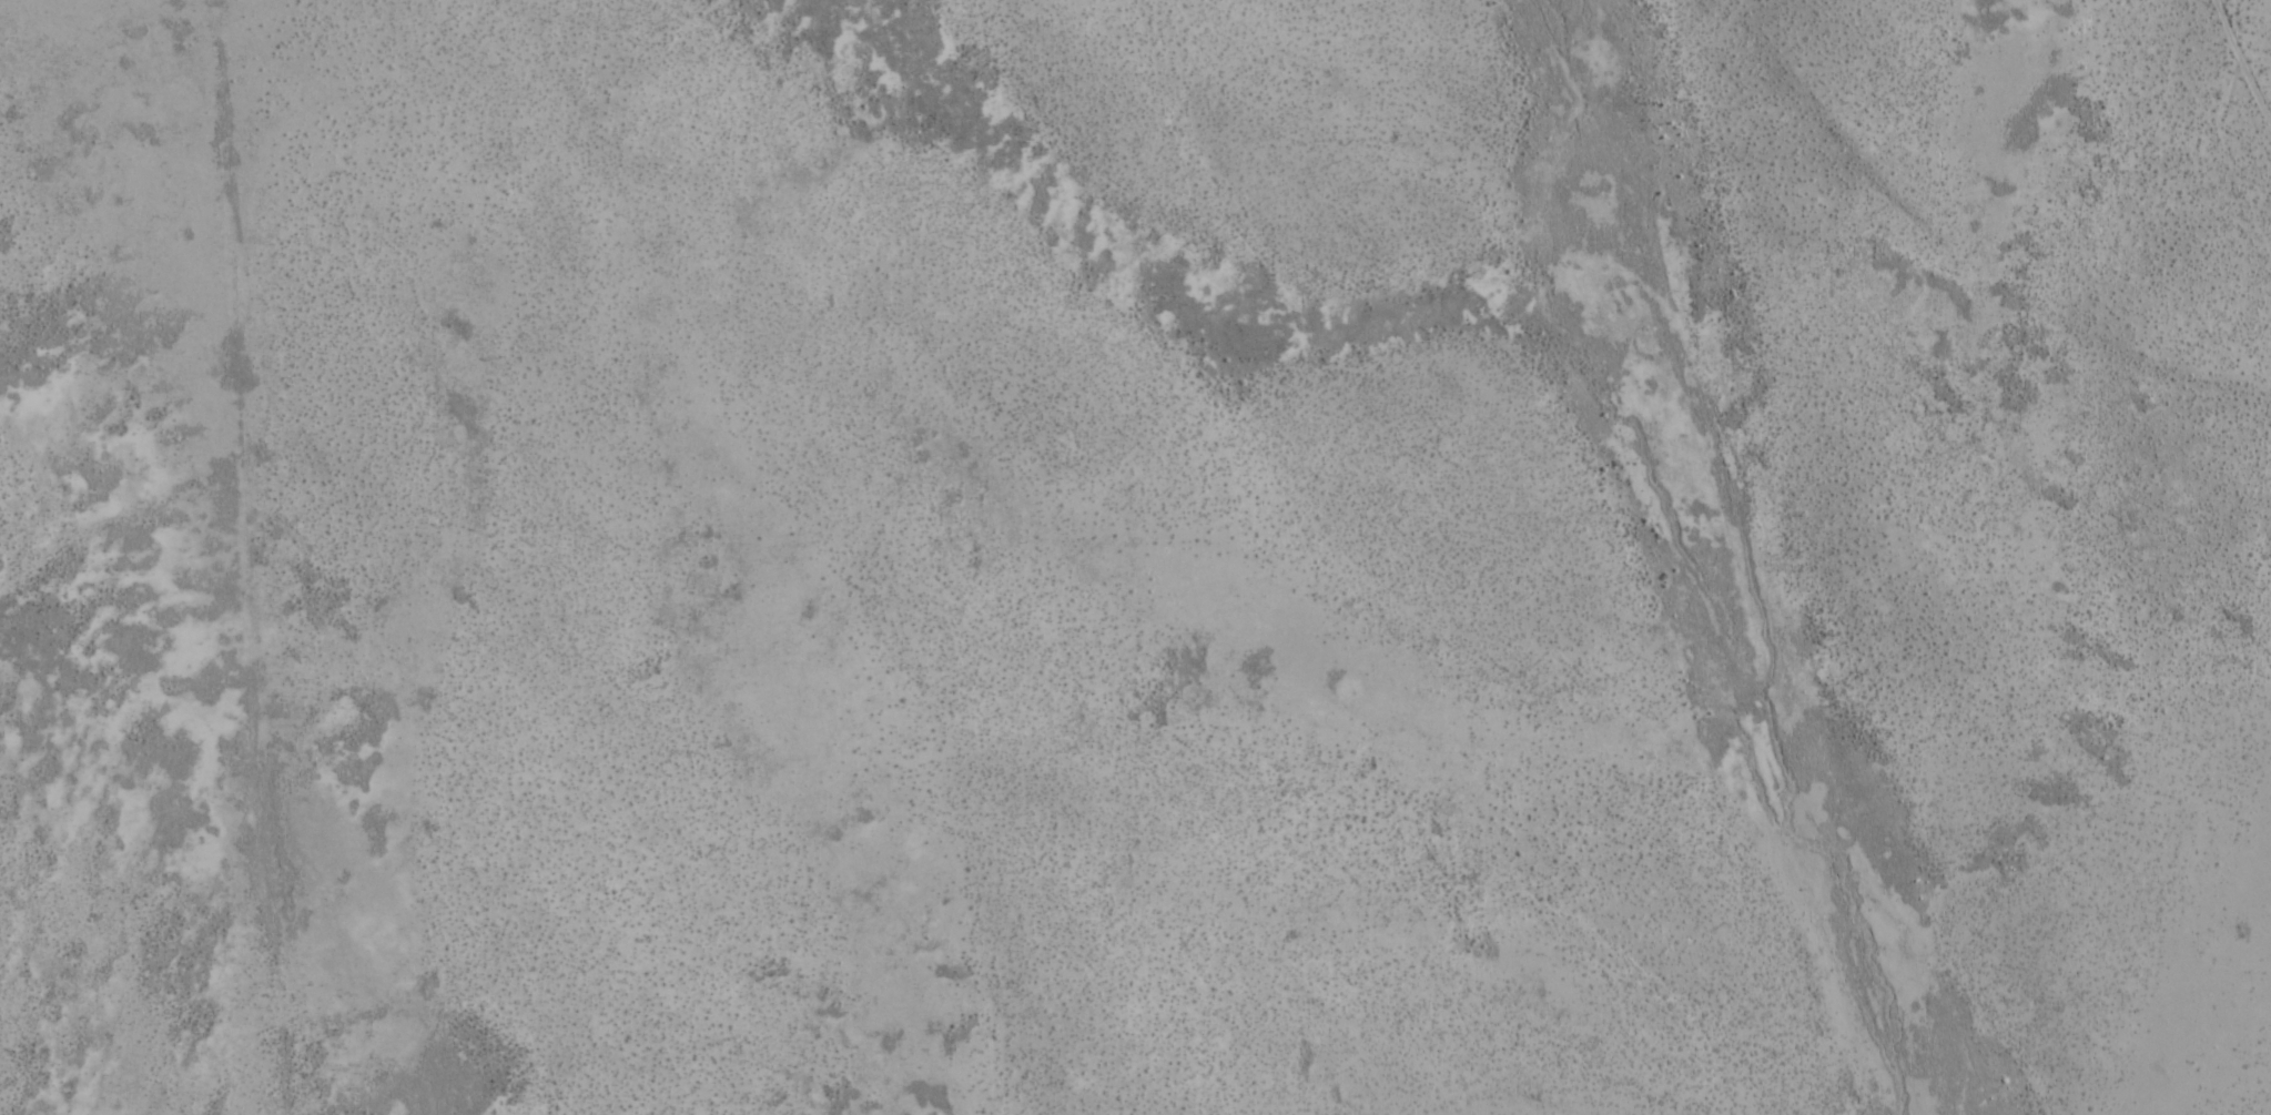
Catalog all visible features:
road: (2223, 62)

